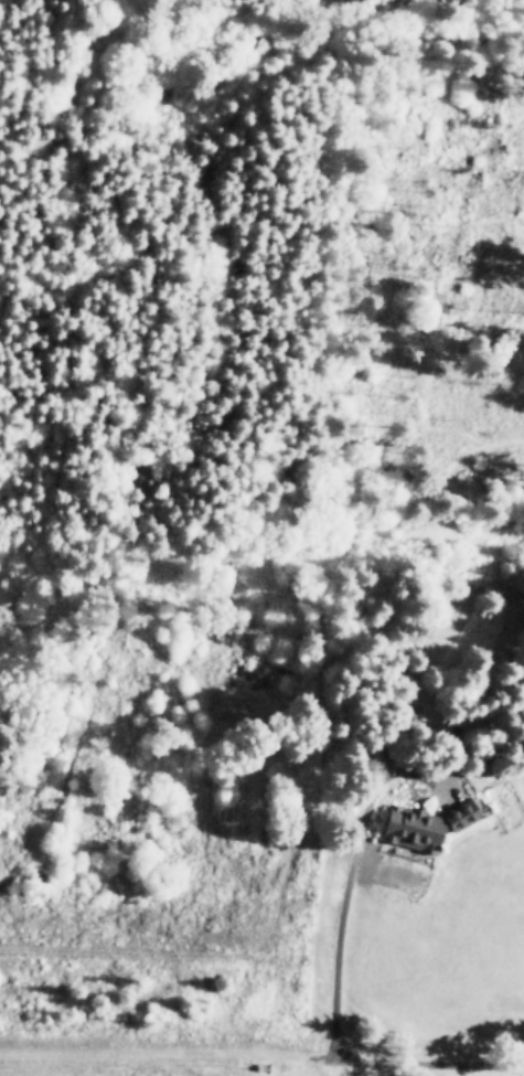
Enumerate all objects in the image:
building: (418, 823)
road: (346, 888)
road: (261, 1054)

